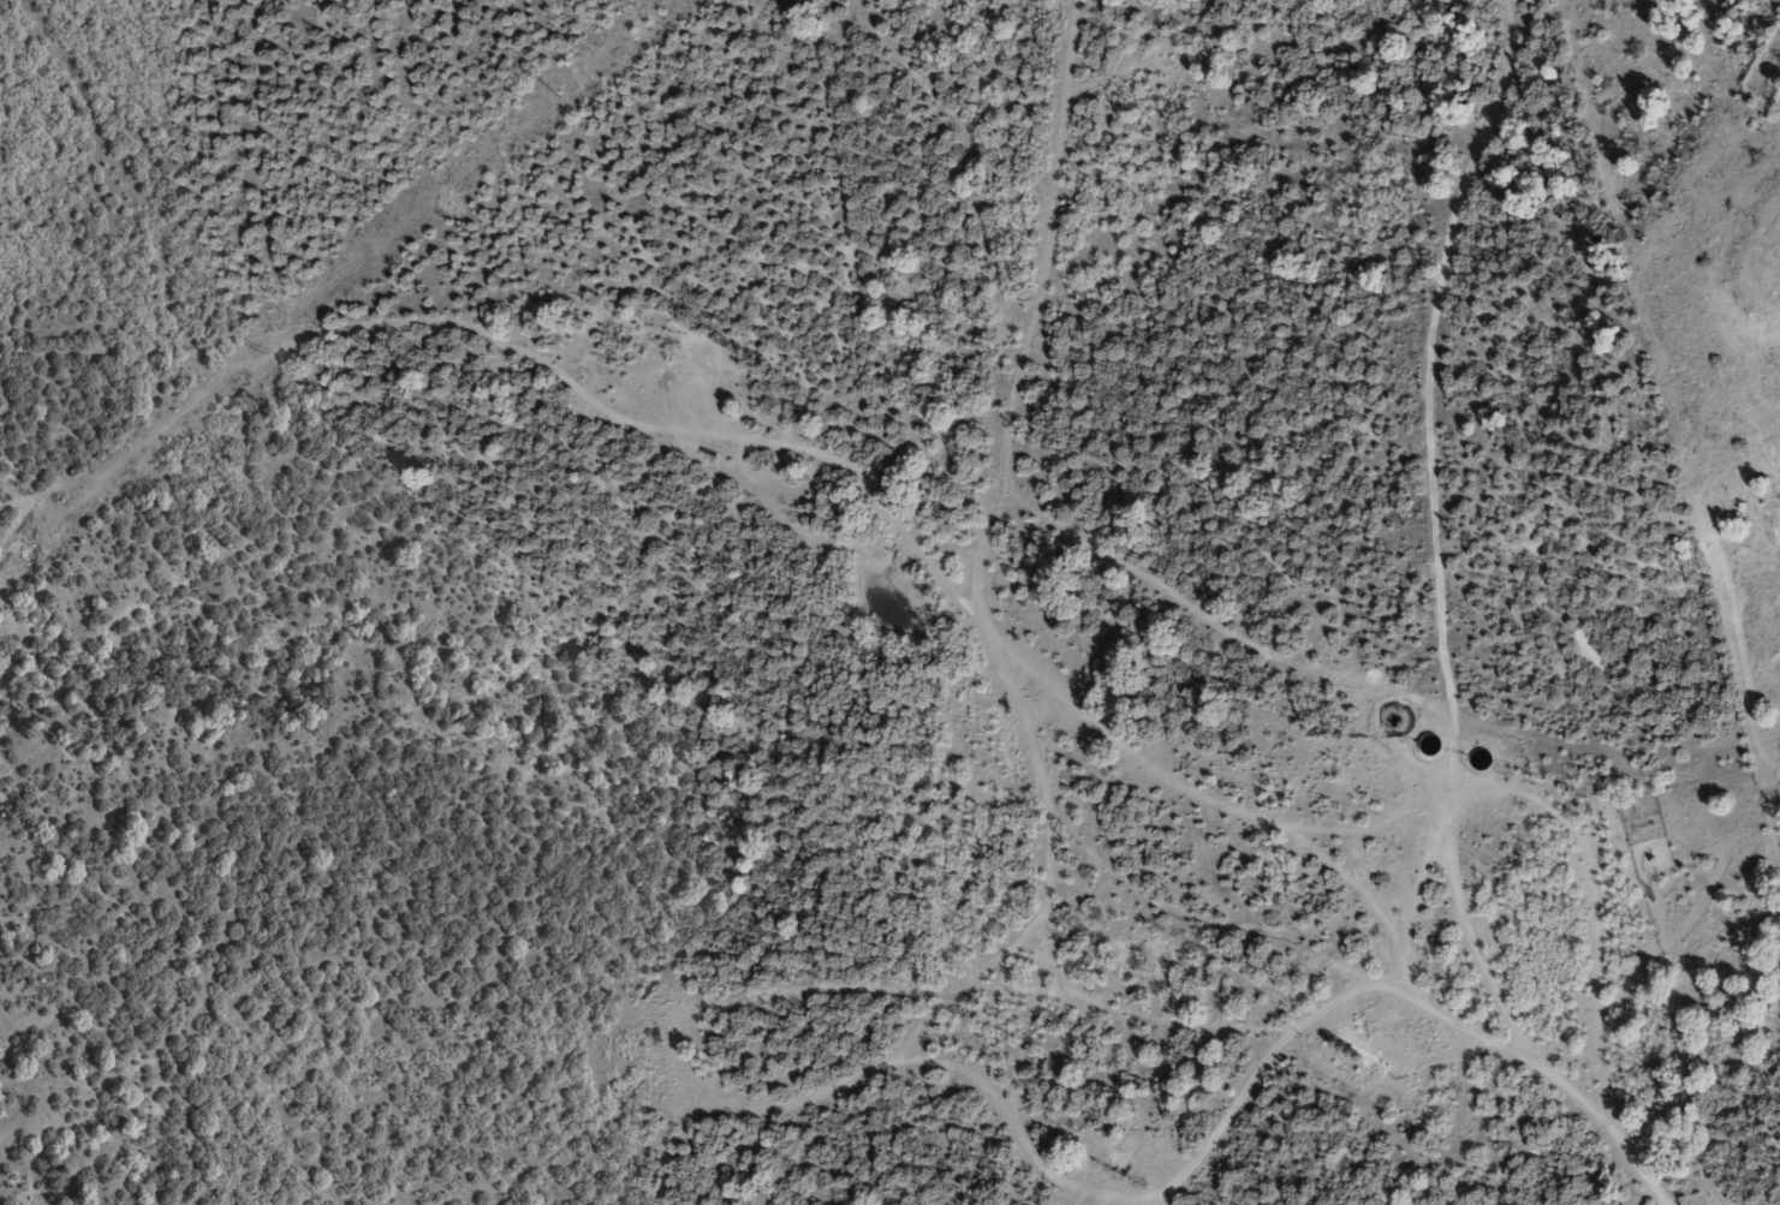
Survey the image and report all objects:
power tower: (556, 94)
power tower: (261, 350)

